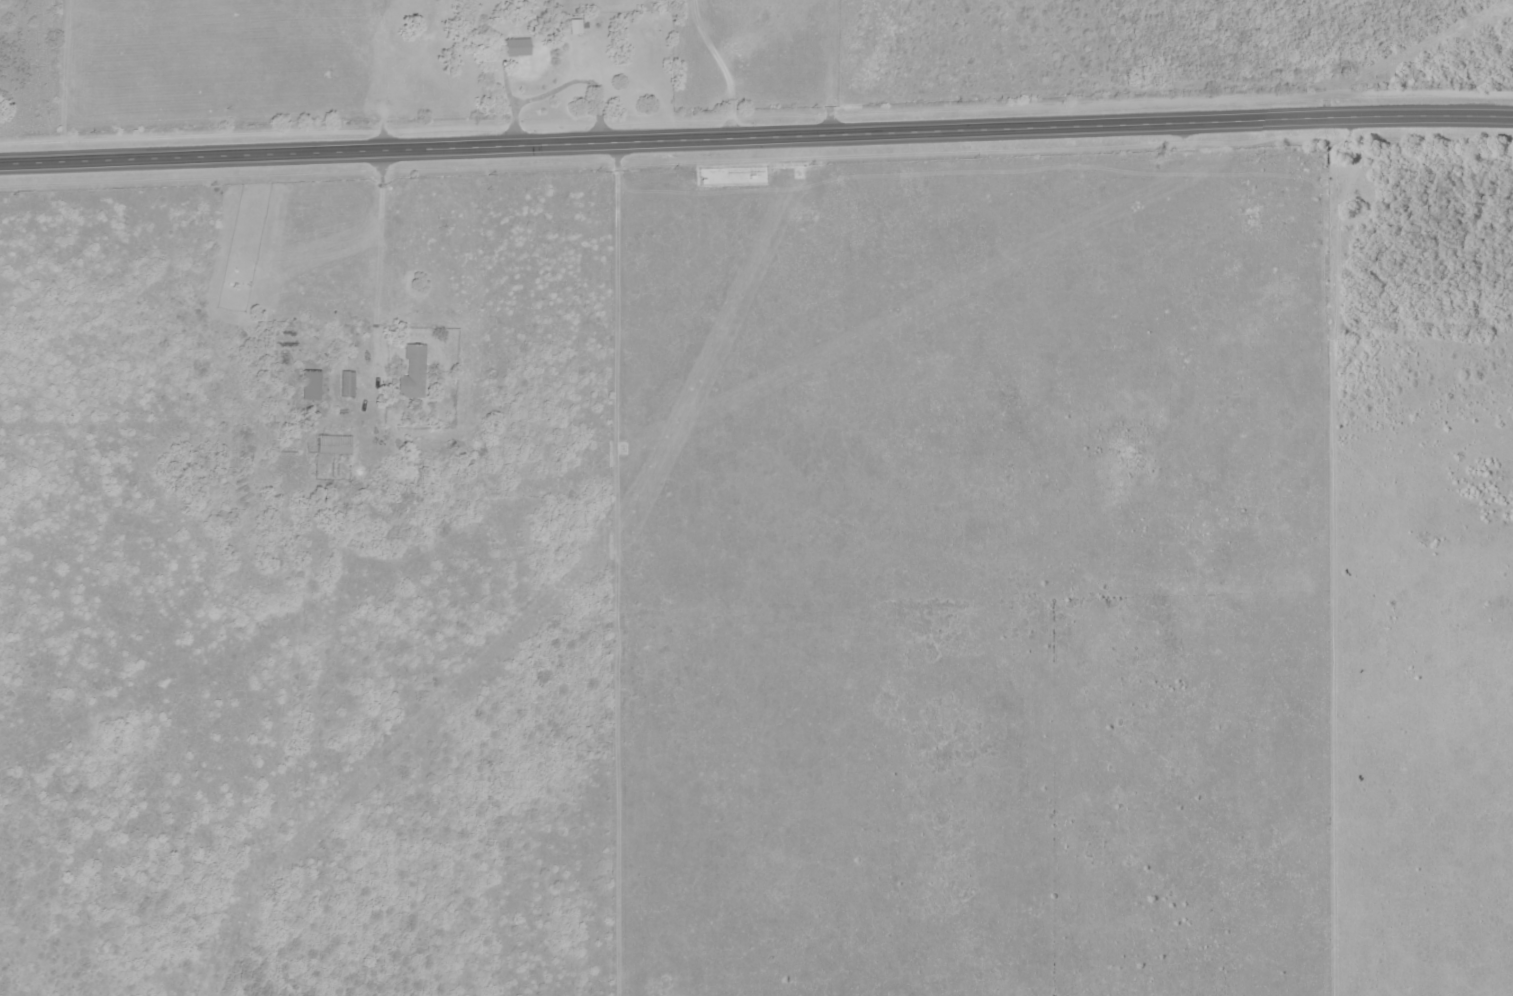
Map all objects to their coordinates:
building: (574, 28)
building: (511, 47)
road: (756, 140)
building: (408, 373)
building: (344, 383)
building: (306, 384)
building: (330, 444)

